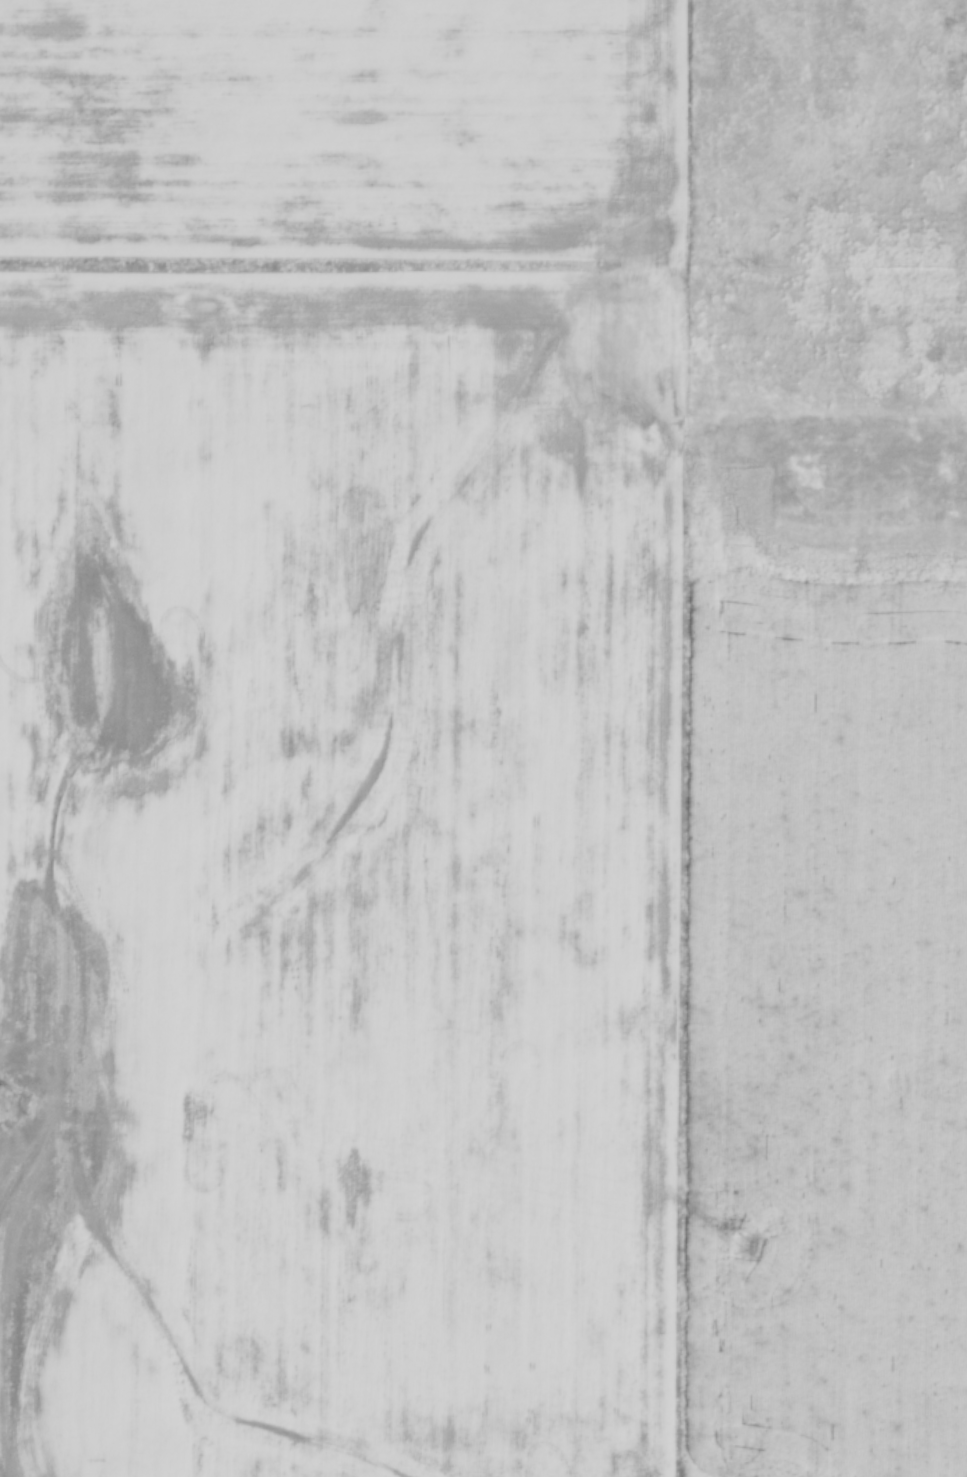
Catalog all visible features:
power tower: (15, 1088)
power tower: (741, 1226)

